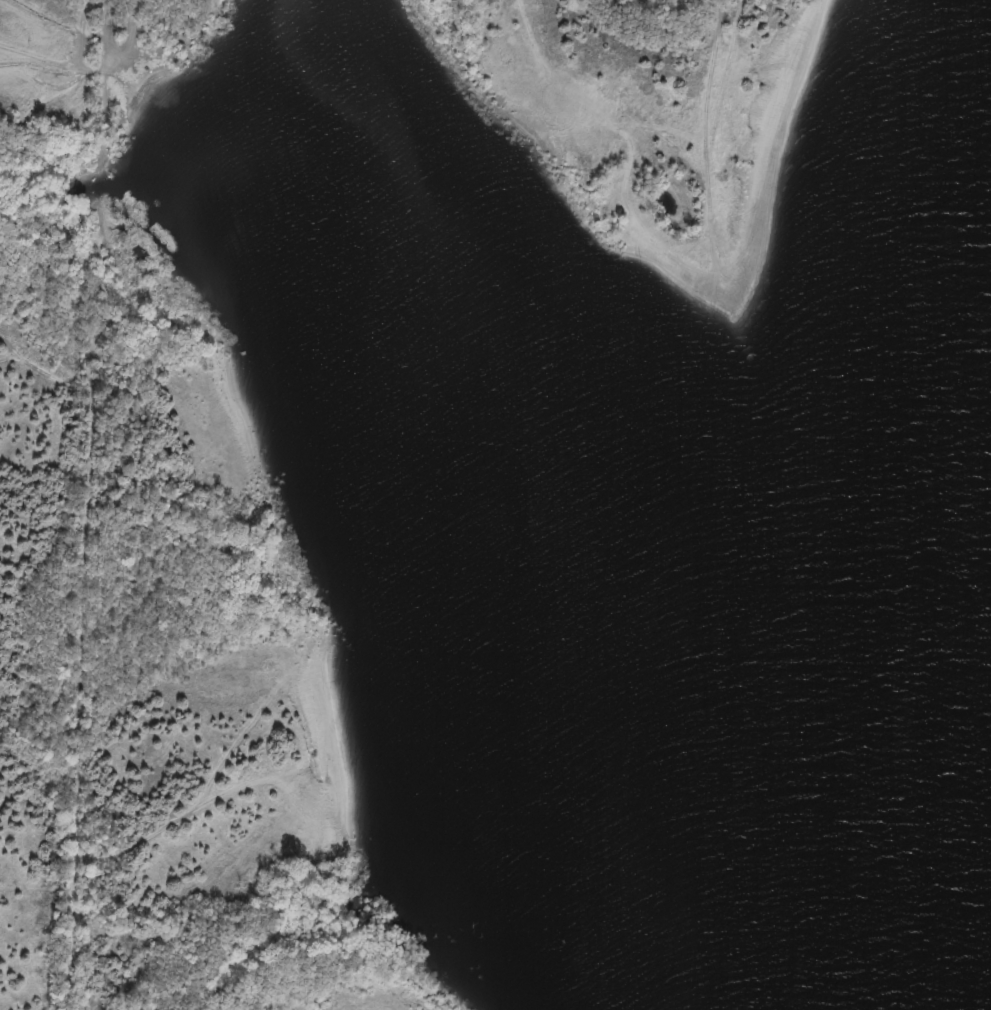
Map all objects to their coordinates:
road: (79, 89)
road: (85, 629)

